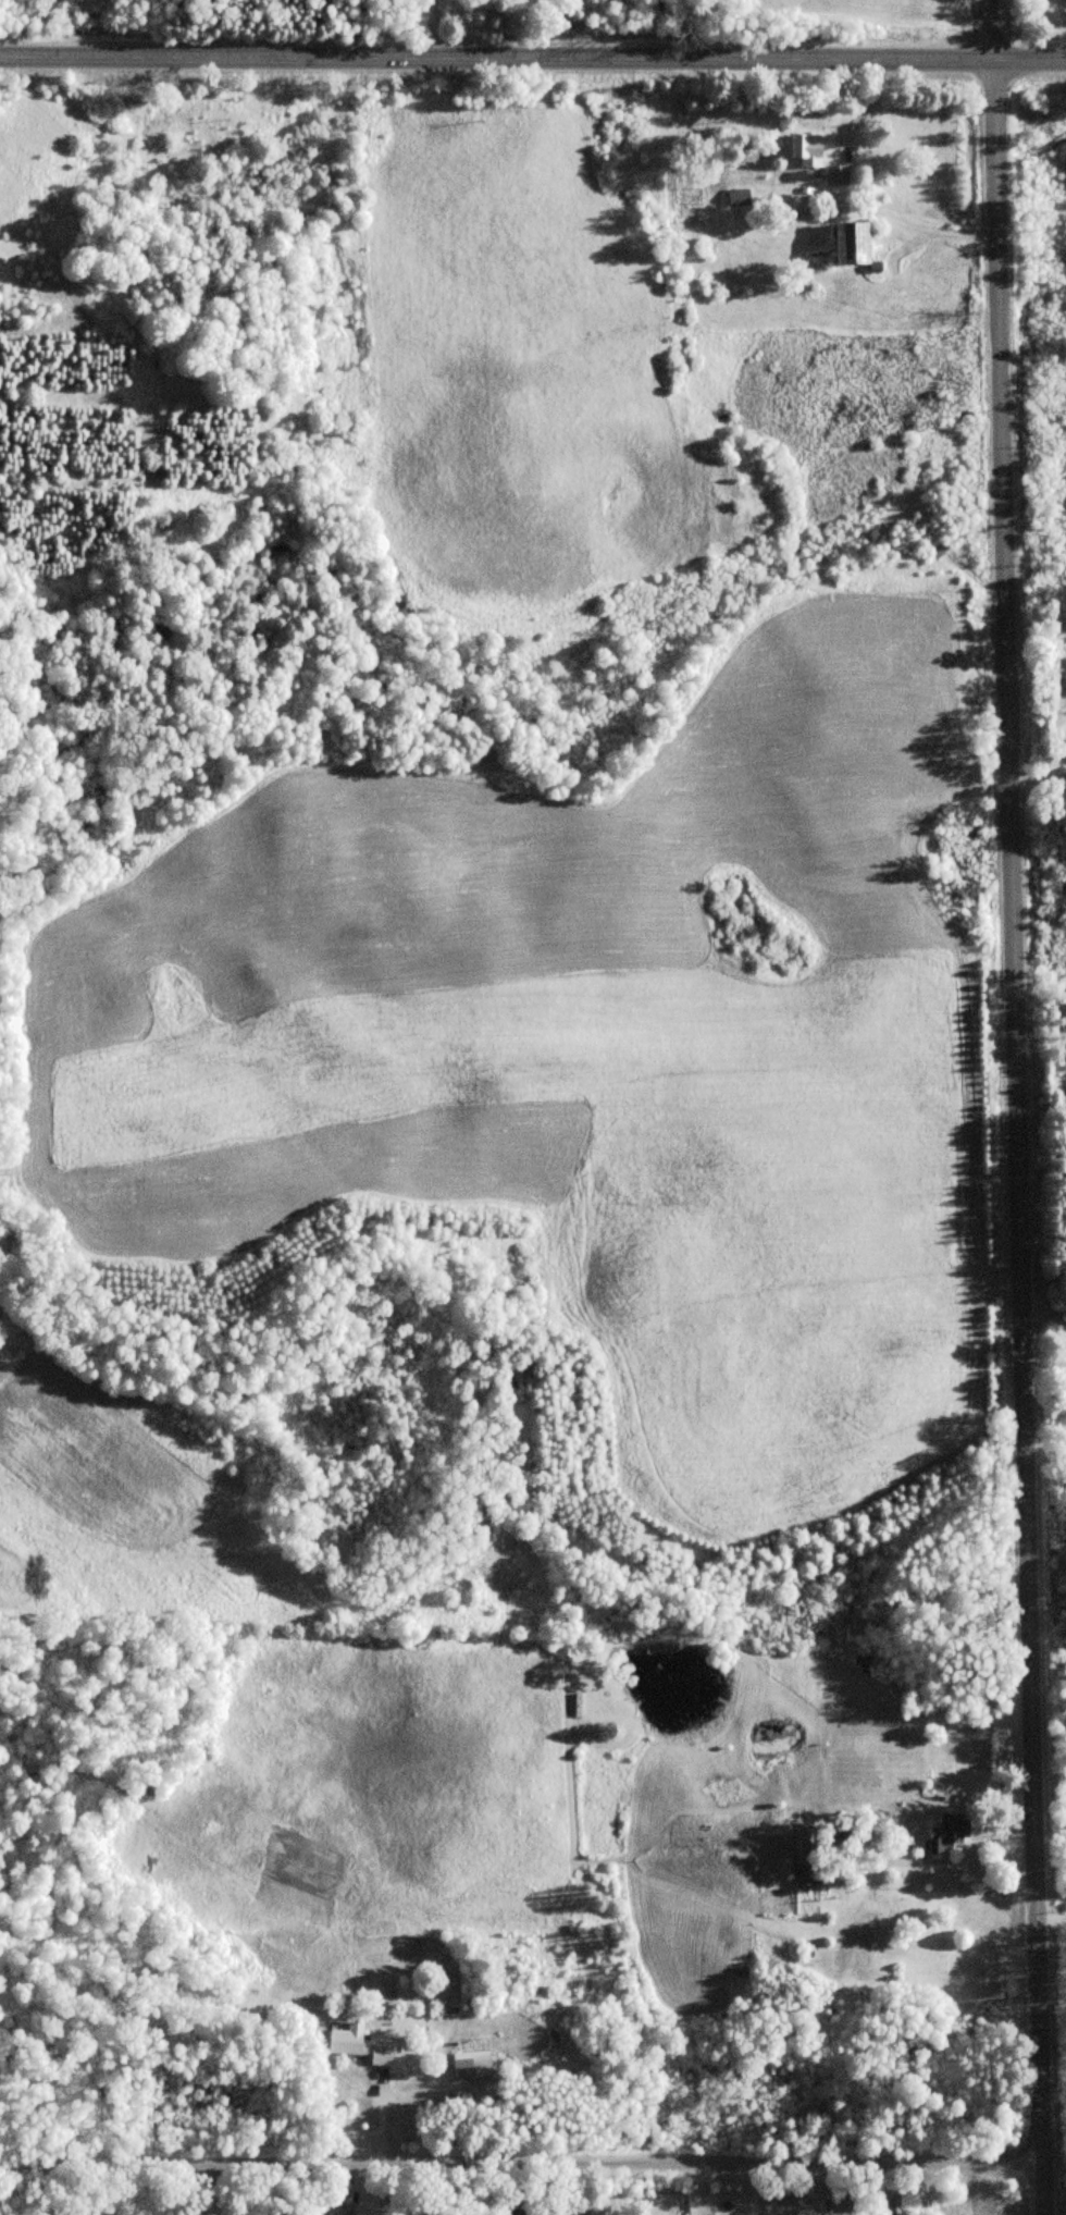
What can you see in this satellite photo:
road: (533, 59)
building: (806, 150)
building: (836, 175)
building: (851, 244)
road: (1018, 1107)
building: (946, 1833)
building: (807, 1856)
road: (1053, 1915)
building: (358, 2045)
building: (472, 2065)
road: (521, 2161)
road: (208, 2188)
building: (895, 2205)
building: (342, 2213)
building: (523, 2214)
building: (575, 2214)

